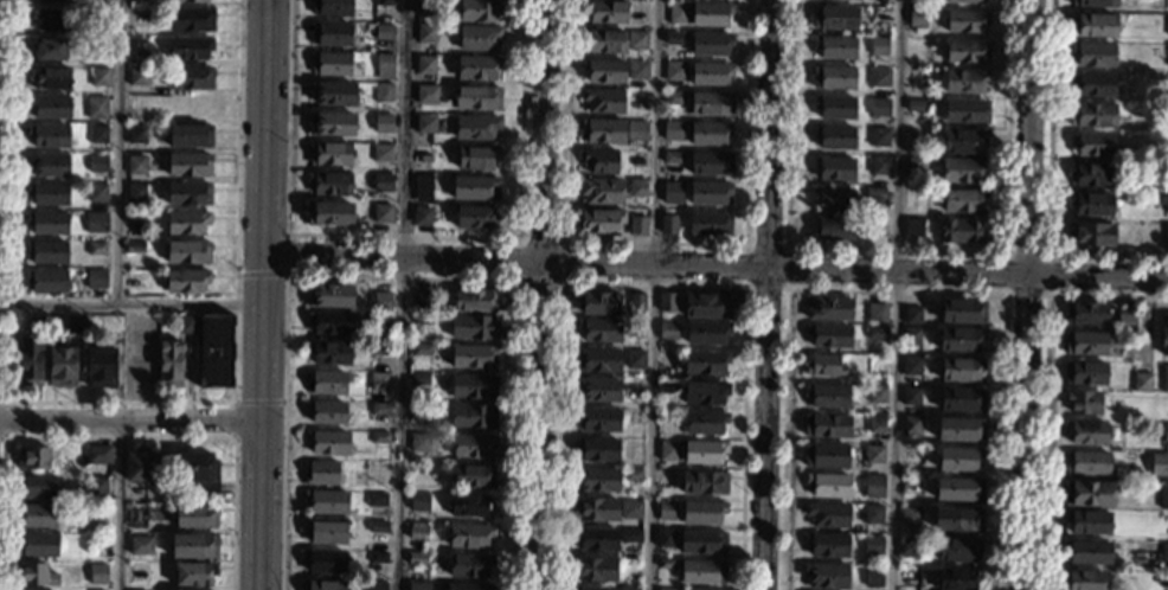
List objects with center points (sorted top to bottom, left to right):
building: (852, 0)
building: (52, 1)
building: (188, 1)
building: (834, 1)
building: (964, 1)
building: (1167, 1)
building: (383, 2)
building: (1093, 2)
building: (425, 6)
building: (332, 8)
building: (479, 11)
building: (605, 11)
building: (678, 12)
building: (711, 14)
building: (97, 15)
building: (918, 17)
building: (835, 18)
building: (47, 19)
building: (191, 20)
building: (965, 20)
building: (1093, 24)
building: (1167, 27)
building: (380, 31)
building: (425, 33)
building: (330, 34)
building: (479, 38)
building: (673, 39)
building: (604, 40)
building: (637, 40)
building: (710, 44)
building: (879, 46)
building: (98, 47)
building: (835, 47)
building: (188, 49)
building: (49, 50)
building: (967, 51)
building: (1093, 56)
building: (330, 64)
building: (425, 65)
building: (384, 66)
building: (477, 68)
building: (637, 70)
building: (604, 71)
building: (675, 71)
building: (711, 73)
building: (98, 77)
building: (137, 77)
building: (879, 77)
building: (47, 78)
building: (188, 78)
building: (833, 78)
building: (917, 79)
building: (964, 81)
building: (1093, 84)
building: (1167, 85)
building: (384, 92)
building: (334, 94)
building: (426, 94)
road: (263, 95)
building: (637, 95)
building: (674, 97)
building: (477, 98)
building: (603, 101)
building: (711, 103)
building: (917, 103)
building: (50, 107)
building: (879, 107)
building: (95, 108)
building: (834, 108)
building: (967, 111)
building: (1092, 115)
building: (1167, 115)
building: (383, 123)
building: (425, 123)
building: (332, 124)
building: (476, 128)
building: (603, 130)
building: (673, 130)
building: (636, 132)
building: (710, 134)
building: (97, 135)
building: (135, 135)
building: (47, 136)
building: (188, 136)
building: (834, 137)
building: (879, 137)
road: (1029, 137)
building: (964, 141)
building: (1092, 145)
building: (1167, 145)
road: (118, 153)
building: (329, 154)
building: (381, 154)
building: (476, 158)
building: (672, 158)
building: (637, 159)
building: (599, 161)
building: (96, 163)
building: (710, 163)
building: (46, 165)
building: (879, 165)
building: (135, 166)
building: (190, 166)
building: (834, 168)
building: (916, 168)
building: (963, 171)
building: (1091, 174)
building: (1164, 175)
building: (329, 182)
building: (383, 184)
building: (422, 187)
building: (669, 187)
building: (475, 188)
building: (637, 188)
building: (601, 191)
building: (95, 193)
building: (135, 193)
building: (708, 193)
building: (46, 194)
building: (875, 194)
building: (188, 195)
building: (834, 198)
building: (909, 198)
building: (963, 200)
building: (1091, 204)
building: (1167, 205)
building: (329, 213)
building: (383, 213)
building: (422, 218)
building: (476, 218)
building: (134, 219)
building: (601, 222)
building: (46, 223)
building: (95, 223)
road: (263, 223)
building: (186, 224)
building: (710, 224)
building: (637, 225)
building: (668, 225)
building: (834, 229)
building: (913, 229)
building: (961, 231)
road: (282, 233)
building: (1090, 235)
building: (1166, 238)
building: (95, 248)
building: (133, 248)
building: (44, 251)
building: (185, 252)
road: (646, 264)
road: (262, 274)
road: (1098, 277)
building: (95, 280)
building: (185, 281)
building: (46, 282)
road: (399, 294)
road: (541, 295)
road: (654, 295)
road: (766, 295)
road: (897, 295)
road: (263, 296)
building: (329, 296)
building: (423, 297)
building: (381, 301)
building: (475, 301)
building: (599, 302)
building: (667, 302)
building: (636, 303)
road: (131, 306)
building: (707, 306)
building: (829, 309)
building: (963, 312)
building: (877, 313)
building: (1086, 313)
building: (911, 315)
building: (423, 319)
building: (109, 321)
building: (1125, 321)
building: (330, 322)
building: (72, 323)
building: (185, 323)
building: (380, 323)
building: (474, 327)
building: (638, 328)
building: (599, 329)
building: (668, 331)
building: (706, 333)
building: (877, 334)
building: (828, 335)
building: (1163, 335)
building: (911, 336)
building: (962, 340)
building: (1085, 342)
building: (214, 349)
building: (380, 349)
building: (422, 349)
building: (329, 352)
building: (471, 355)
building: (635, 359)
building: (599, 360)
building: (27, 361)
building: (168, 361)
building: (705, 363)
building: (60, 365)
building: (822, 365)
building: (98, 366)
building: (911, 366)
building: (962, 370)
building: (135, 371)
building: (1085, 373)
road: (264, 379)
building: (419, 379)
building: (1164, 380)
building: (327, 381)
building: (379, 381)
building: (1141, 381)
building: (473, 386)
building: (633, 387)
building: (666, 387)
building: (598, 389)
building: (705, 392)
building: (877, 395)
building: (828, 396)
building: (911, 397)
building: (961, 399)
road: (118, 402)
road: (258, 402)
building: (1083, 402)
building: (379, 409)
building: (327, 412)
building: (418, 412)
building: (473, 416)
building: (598, 418)
road: (4, 419)
road: (131, 421)
building: (705, 423)
building: (827, 425)
building: (875, 425)
building: (911, 425)
building: (961, 429)
road: (1025, 432)
building: (1085, 432)
building: (1166, 434)
road: (118, 437)
road: (240, 437)
building: (379, 437)
building: (327, 443)
building: (419, 443)
building: (474, 447)
road: (264, 448)
building: (596, 449)
building: (667, 449)
building: (704, 453)
building: (95, 454)
building: (873, 455)
building: (31, 456)
building: (826, 456)
building: (911, 456)
building: (958, 458)
building: (1086, 463)
building: (1159, 463)
building: (139, 467)
building: (195, 473)
building: (322, 474)
building: (633, 475)
building: (471, 476)
building: (597, 479)
building: (704, 483)
building: (96, 485)
building: (34, 486)
building: (828, 486)
building: (873, 486)
building: (958, 489)
building: (135, 494)
building: (1087, 494)
building: (1163, 496)
building: (377, 500)
building: (418, 501)
building: (327, 502)
building: (469, 505)
road: (117, 506)
building: (595, 508)
building: (666, 508)
building: (630, 509)
building: (702, 512)
building: (34, 513)
building: (94, 514)
building: (193, 514)
building: (873, 514)
building: (140, 515)
building: (827, 515)
building: (910, 517)
building: (957, 519)
building: (1086, 522)
building: (378, 527)
building: (325, 531)
building: (417, 531)
road: (262, 533)
building: (469, 536)
building: (630, 536)
building: (665, 538)
building: (596, 539)
building: (96, 540)
building: (874, 541)
building: (135, 543)
building: (702, 543)
building: (33, 544)
building: (192, 545)
building: (826, 545)
building: (911, 549)
building: (958, 550)
building: (1089, 552)
building: (1164, 552)
building: (378, 558)
building: (417, 558)
building: (325, 562)
building: (666, 564)
building: (469, 565)
building: (593, 569)
building: (95, 570)
building: (192, 572)
building: (701, 572)
building: (32, 575)
building: (826, 576)
building: (872, 578)
building: (957, 578)
building: (1083, 581)
building: (322, 585)
building: (376, 585)
building: (419, 586)
building: (469, 586)
building: (178, 589)
building: (590, 589)
building: (628, 589)
building: (663, 589)
building: (697, 589)

